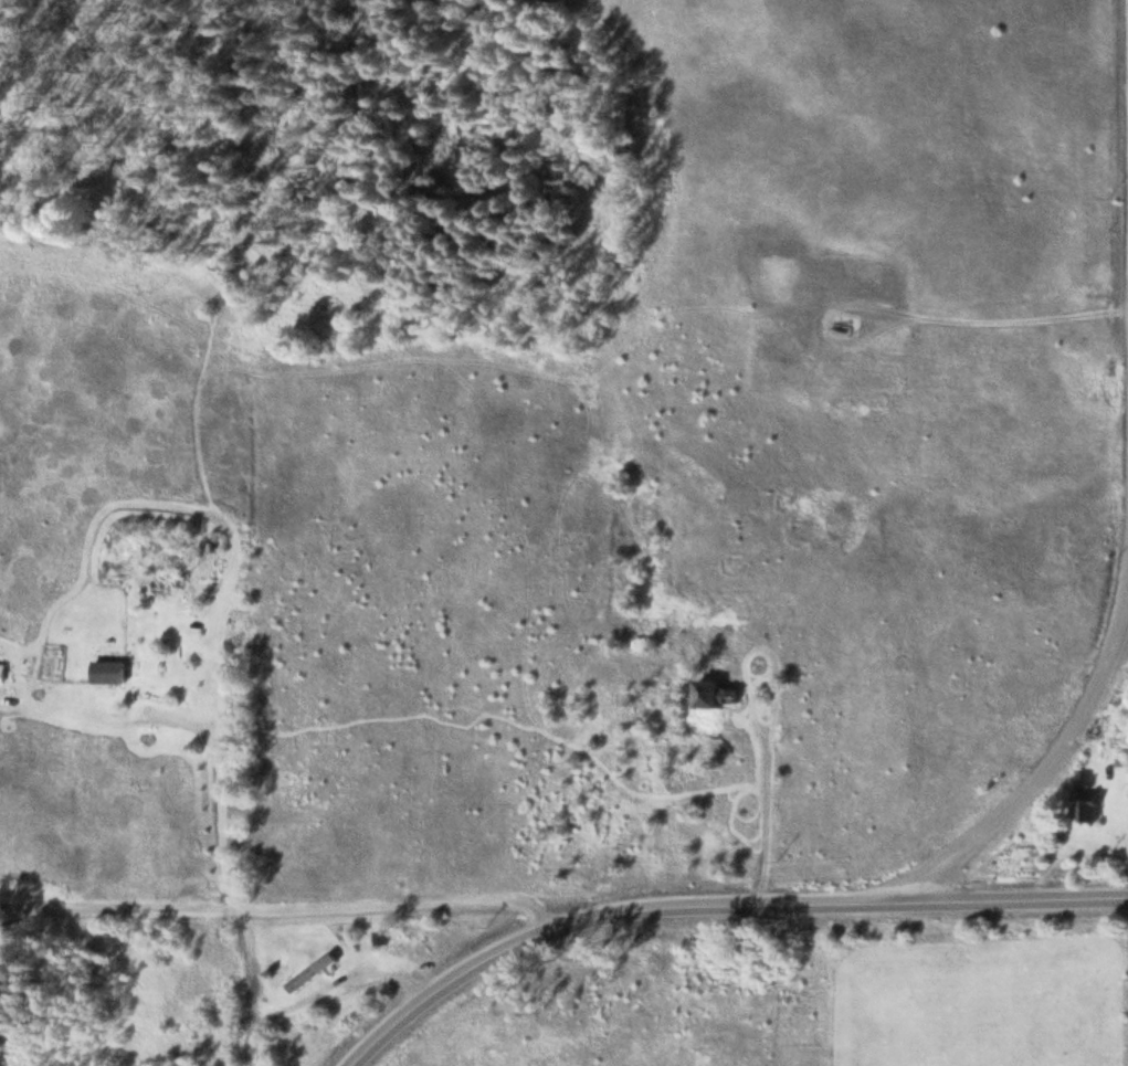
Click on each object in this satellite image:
petroleum well: (843, 325)
building: (181, 629)
building: (4, 673)
building: (110, 673)
building: (713, 695)
road: (1031, 792)
building: (1089, 805)
road: (853, 905)
road: (119, 908)
road: (411, 908)
building: (382, 939)
building: (313, 973)
road: (455, 978)
road: (253, 988)

